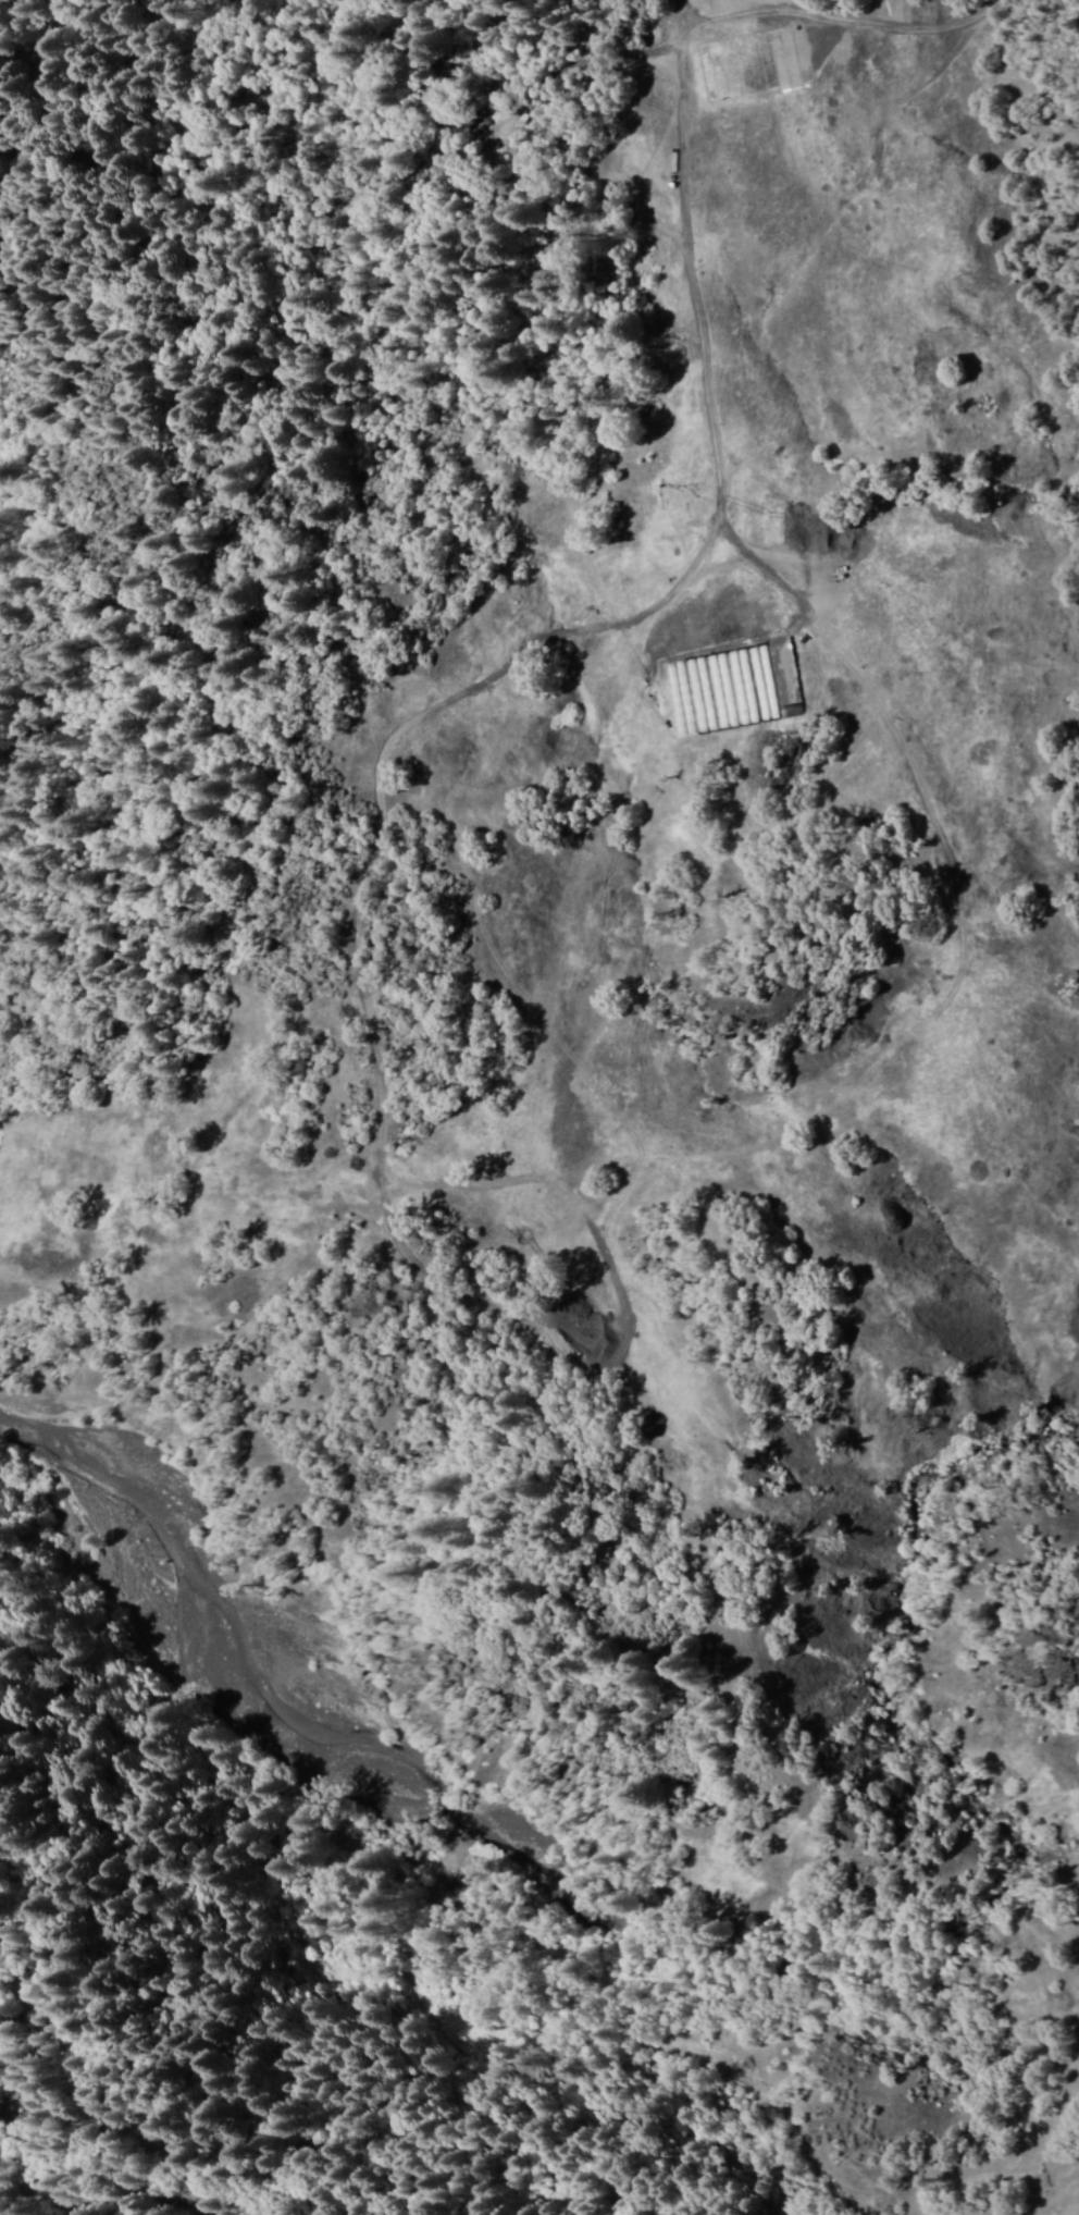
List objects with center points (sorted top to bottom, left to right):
road: (871, 801)
road: (112, 2111)

